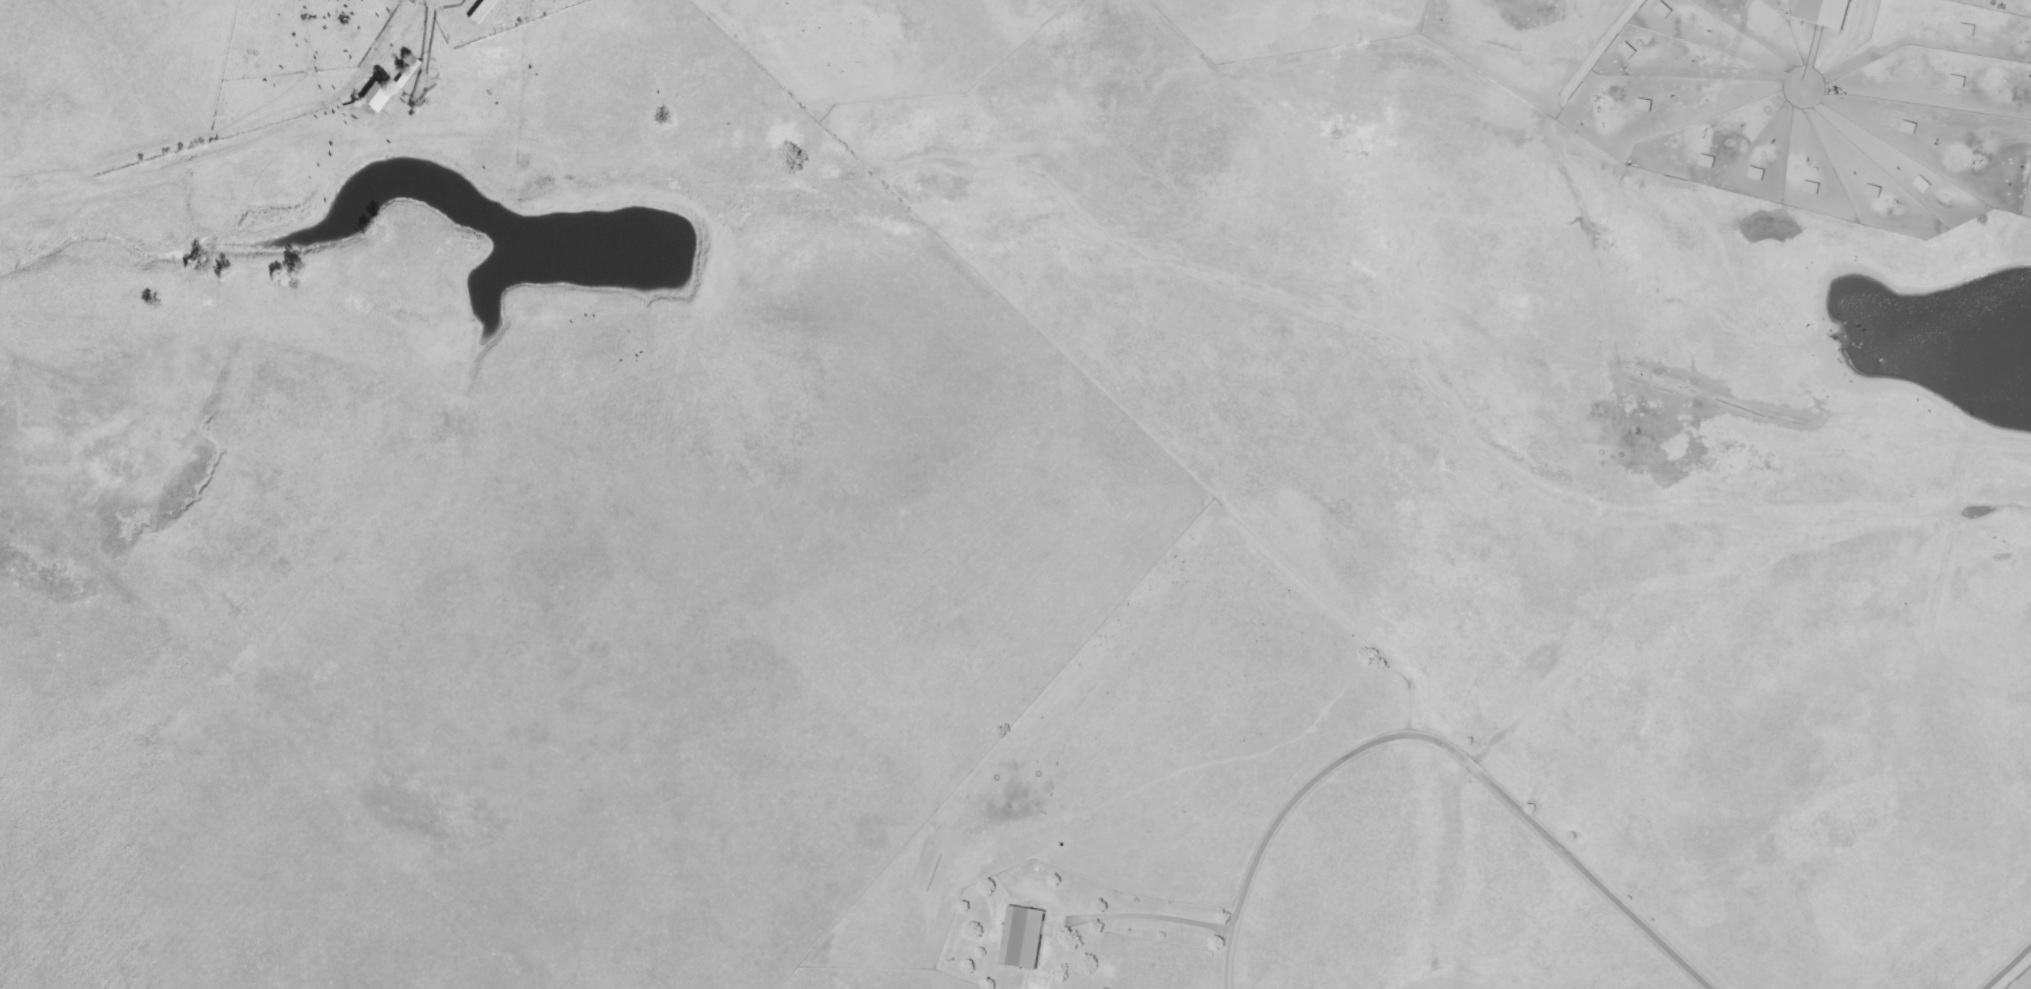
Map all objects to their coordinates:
building: (483, 11)
building: (1667, 11)
building: (1824, 15)
building: (1971, 30)
building: (1631, 51)
building: (1961, 82)
building: (377, 87)
building: (1648, 105)
building: (1912, 128)
building: (1711, 161)
building: (1760, 174)
building: (1925, 185)
building: (1815, 188)
building: (1877, 192)
road: (1442, 740)
road: (1149, 920)
building: (1021, 942)
road: (2010, 970)

